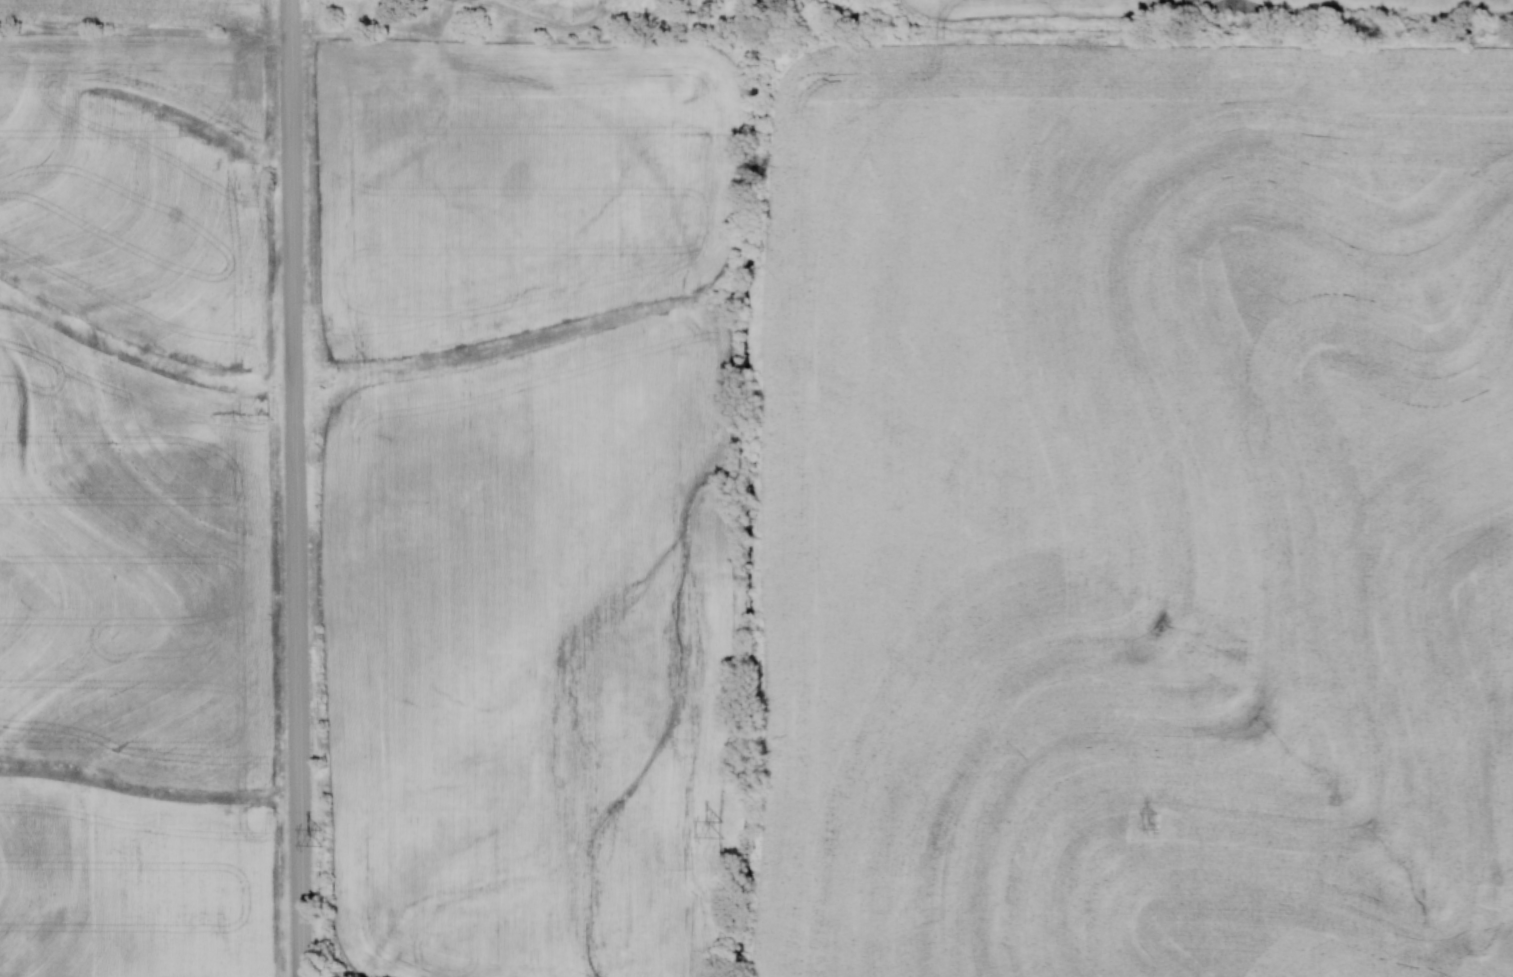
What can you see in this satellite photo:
road: (299, 488)
power tower: (1155, 821)
power tower: (721, 830)
power tower: (321, 837)

